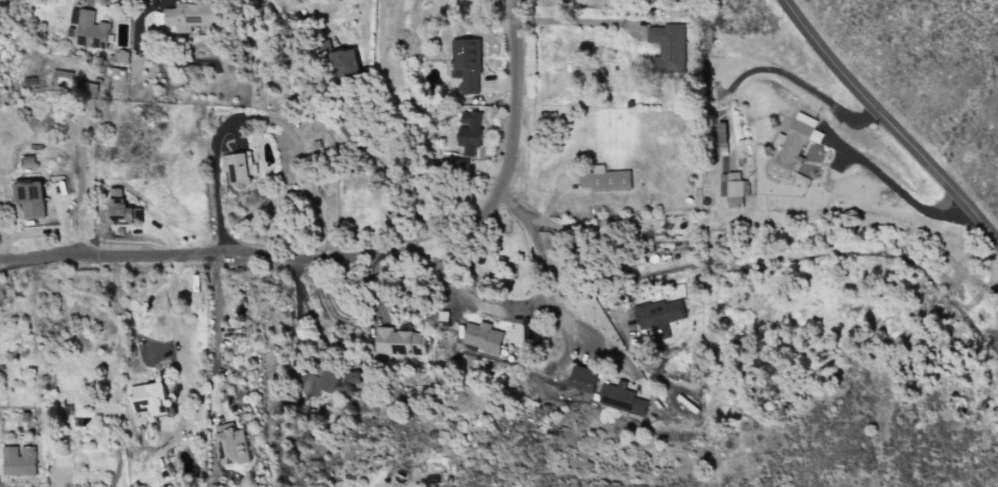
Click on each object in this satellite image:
building: (183, 17)
road: (579, 21)
building: (90, 25)
building: (667, 47)
building: (344, 63)
building: (466, 64)
building: (28, 81)
building: (71, 83)
road: (889, 124)
building: (467, 138)
building: (792, 145)
building: (28, 161)
building: (236, 167)
building: (604, 179)
building: (732, 188)
building: (115, 193)
road: (216, 193)
road: (902, 194)
building: (29, 198)
building: (123, 213)
road: (525, 220)
road: (587, 251)
road: (359, 259)
road: (299, 305)
road: (507, 314)
building: (658, 314)
road: (215, 328)
building: (482, 337)
road: (176, 343)
building: (398, 343)
building: (351, 377)
building: (582, 379)
building: (320, 382)
building: (620, 398)
building: (149, 399)
building: (231, 445)
building: (19, 460)

